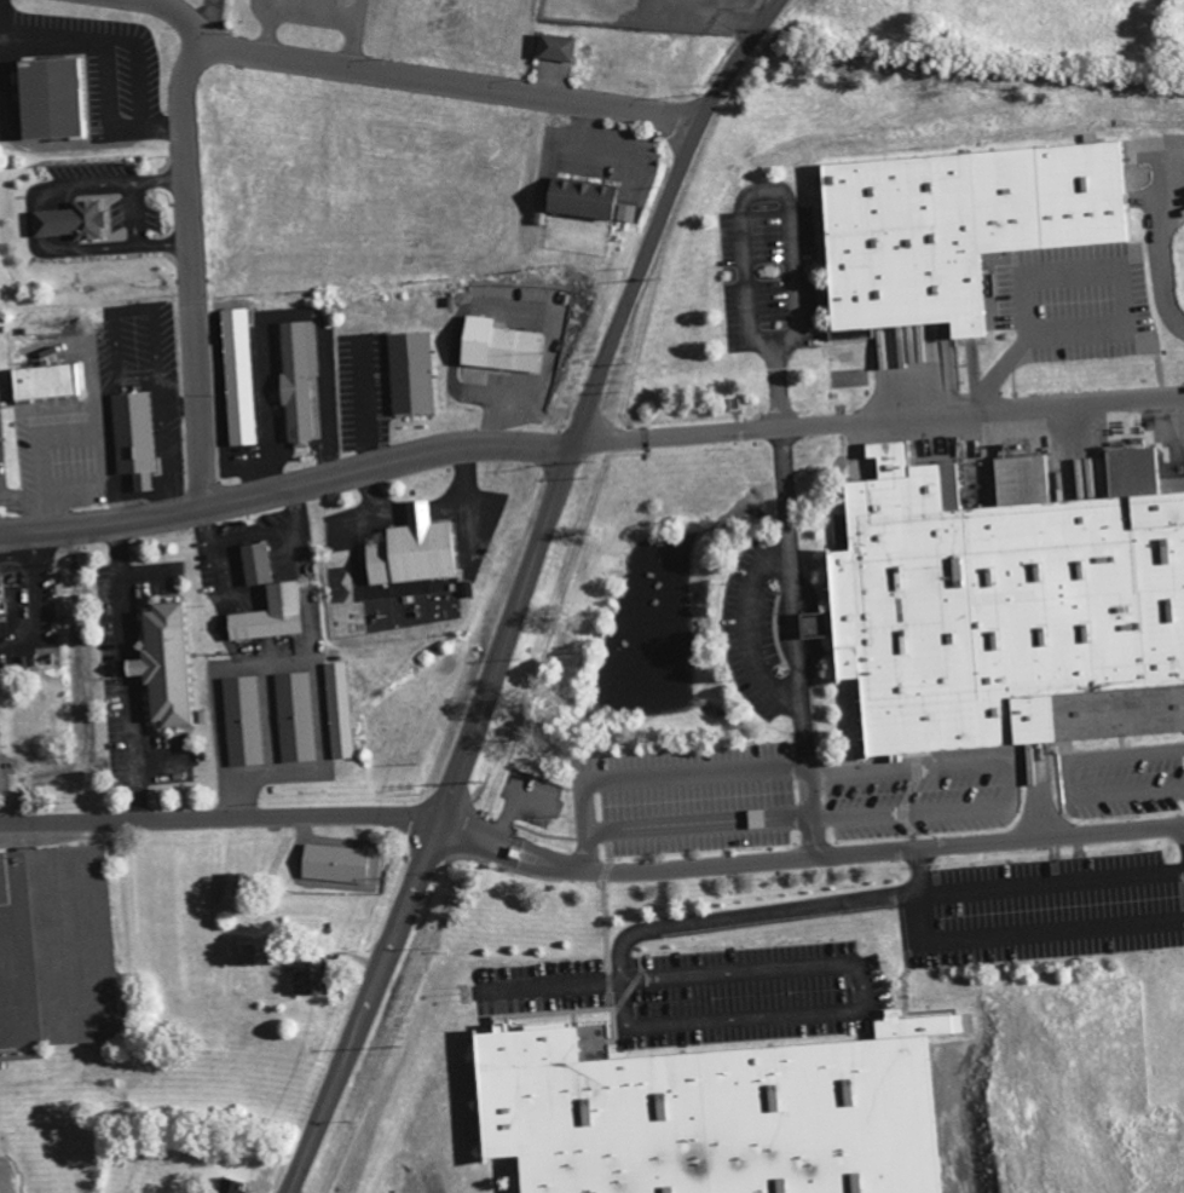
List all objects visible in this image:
power substation: (651, 12)
road: (314, 15)
building: (553, 46)
road: (108, 58)
road: (138, 68)
road: (421, 77)
building: (48, 97)
road: (108, 184)
road: (789, 211)
road: (135, 214)
building: (68, 220)
road: (40, 221)
building: (952, 226)
road: (111, 248)
road: (191, 275)
building: (495, 345)
building: (408, 371)
building: (237, 376)
building: (295, 380)
building: (44, 381)
road: (878, 417)
building: (132, 437)
road: (287, 490)
building: (411, 549)
road: (15, 557)
building: (254, 564)
road: (148, 575)
road: (522, 589)
road: (31, 590)
building: (1005, 605)
building: (267, 615)
road: (747, 632)
road: (795, 639)
road: (15, 645)
building: (162, 665)
road: (313, 665)
road: (123, 676)
building: (339, 709)
building: (295, 716)
building: (243, 721)
road: (161, 759)
road: (653, 776)
road: (1070, 777)
road: (1011, 783)
road: (221, 820)
road: (697, 822)
road: (1179, 832)
road: (809, 853)
building: (333, 863)
building: (231, 891)
road: (919, 892)
building: (40, 921)
road: (805, 929)
building: (248, 957)
building: (307, 978)
building: (711, 1113)
building: (226, 1186)

